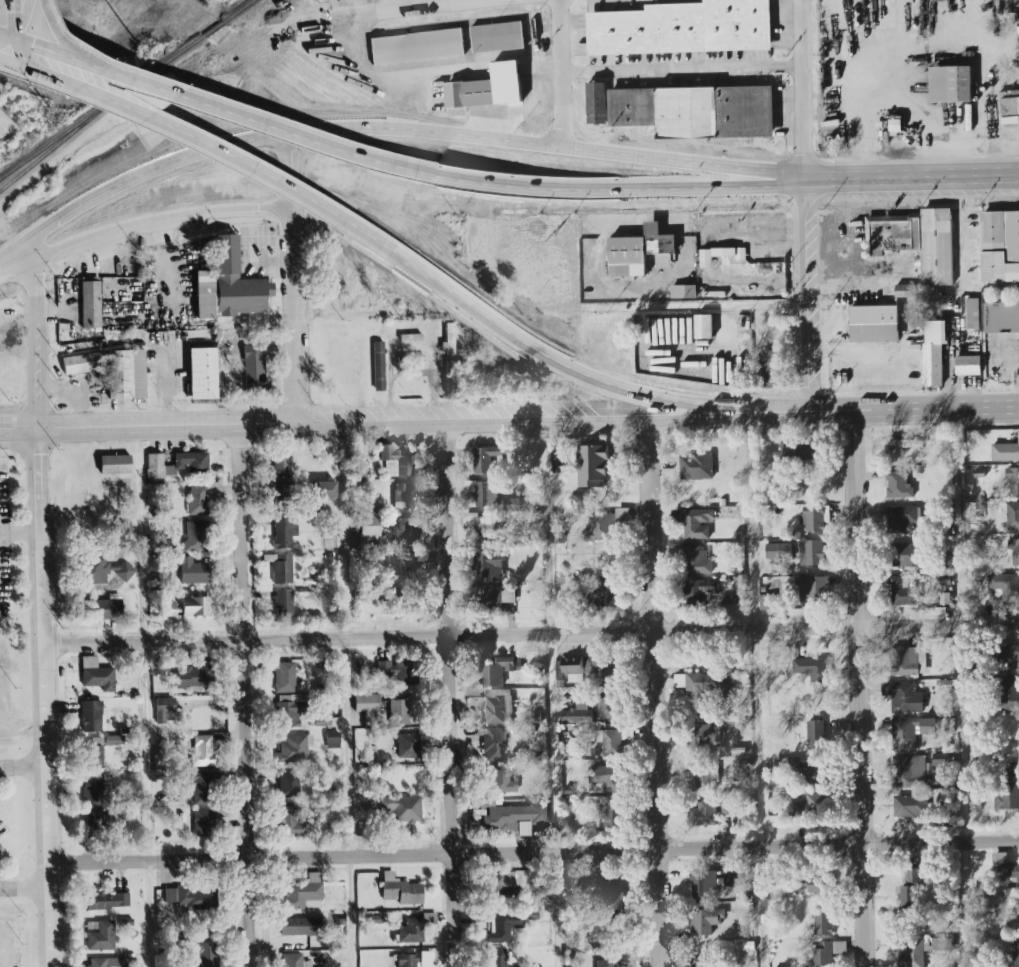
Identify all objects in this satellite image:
road: (419, 5)
railway: (235, 9)
road: (4, 18)
railway: (210, 28)
building: (683, 28)
building: (498, 37)
building: (417, 46)
building: (1018, 66)
road: (625, 71)
road: (566, 74)
building: (952, 84)
road: (807, 89)
building: (471, 95)
building: (597, 103)
building: (516, 110)
railway: (101, 111)
building: (692, 113)
building: (1000, 113)
road: (392, 128)
road: (187, 133)
road: (305, 135)
building: (302, 137)
road: (290, 170)
road: (915, 177)
road: (714, 185)
road: (142, 222)
road: (758, 241)
building: (918, 241)
building: (1000, 247)
building: (641, 252)
building: (721, 255)
building: (237, 282)
building: (684, 291)
road: (810, 291)
building: (905, 291)
building: (205, 294)
building: (364, 300)
building: (91, 305)
road: (698, 307)
road: (296, 314)
road: (350, 314)
building: (974, 314)
building: (1002, 317)
building: (876, 324)
building: (705, 327)
building: (410, 337)
building: (449, 339)
road: (412, 349)
building: (935, 353)
building: (81, 363)
building: (402, 363)
building: (970, 365)
building: (378, 366)
building: (254, 367)
building: (772, 368)
building: (201, 373)
building: (127, 374)
building: (451, 377)
road: (607, 390)
road: (954, 404)
road: (595, 422)
road: (149, 424)
building: (906, 443)
building: (794, 451)
building: (1006, 452)
building: (486, 459)
building: (397, 460)
building: (192, 462)
building: (115, 464)
building: (280, 465)
building: (593, 466)
building: (561, 467)
building: (698, 467)
building: (1013, 481)
building: (899, 485)
building: (325, 489)
building: (481, 495)
building: (402, 496)
building: (203, 497)
building: (283, 497)
building: (1013, 516)
building: (815, 519)
building: (903, 520)
building: (696, 521)
building: (606, 525)
building: (370, 526)
building: (484, 527)
building: (405, 530)
building: (284, 533)
road: (22, 535)
building: (195, 535)
building: (327, 540)
building: (777, 551)
building: (1014, 551)
building: (813, 553)
building: (906, 555)
building: (696, 560)
building: (408, 565)
building: (489, 566)
building: (281, 567)
building: (104, 569)
building: (192, 571)
building: (943, 580)
building: (1006, 586)
building: (814, 589)
building: (611, 591)
building: (362, 592)
building: (700, 592)
building: (904, 594)
building: (487, 597)
building: (732, 598)
building: (943, 599)
building: (284, 603)
building: (196, 606)
building: (102, 609)
building: (168, 609)
road: (46, 611)
road: (533, 634)
building: (1011, 657)
building: (905, 663)
building: (591, 666)
building: (814, 669)
building: (978, 669)
building: (496, 672)
building: (399, 673)
building: (96, 674)
building: (193, 677)
building: (285, 678)
building: (703, 683)
building: (946, 685)
road: (964, 685)
road: (862, 691)
road: (760, 692)
road: (244, 694)
road: (655, 694)
road: (550, 695)
building: (1010, 695)
road: (144, 696)
road: (450, 696)
road: (348, 697)
building: (905, 697)
building: (367, 702)
building: (499, 706)
building: (609, 707)
building: (165, 709)
building: (290, 711)
building: (399, 712)
building: (579, 714)
building: (92, 716)
building: (323, 722)
building: (906, 734)
building: (817, 735)
building: (704, 737)
building: (115, 740)
building: (332, 740)
building: (609, 743)
building: (494, 745)
building: (408, 746)
building: (293, 748)
building: (96, 751)
building: (203, 752)
building: (945, 759)
building: (798, 769)
road: (25, 772)
building: (911, 772)
building: (604, 777)
building: (704, 777)
building: (500, 779)
building: (289, 785)
building: (202, 786)
building: (1008, 790)
building: (96, 791)
building: (912, 806)
building: (811, 807)
building: (402, 808)
building: (705, 814)
building: (610, 815)
building: (516, 817)
building: (96, 819)
building: (203, 821)
building: (291, 823)
building: (335, 831)
road: (535, 854)
building: (1006, 869)
building: (733, 878)
building: (814, 883)
building: (704, 884)
building: (503, 887)
road: (26, 890)
building: (400, 890)
building: (909, 890)
building: (304, 893)
building: (610, 896)
building: (190, 898)
building: (107, 900)
building: (1014, 920)
building: (706, 921)
building: (822, 922)
building: (302, 927)
building: (413, 927)
building: (505, 928)
building: (100, 935)
building: (942, 944)
building: (1015, 951)
building: (914, 954)
building: (205, 955)
building: (824, 955)
building: (497, 958)
building: (294, 960)
building: (408, 961)
building: (105, 962)
building: (604, 963)
building: (703, 963)

